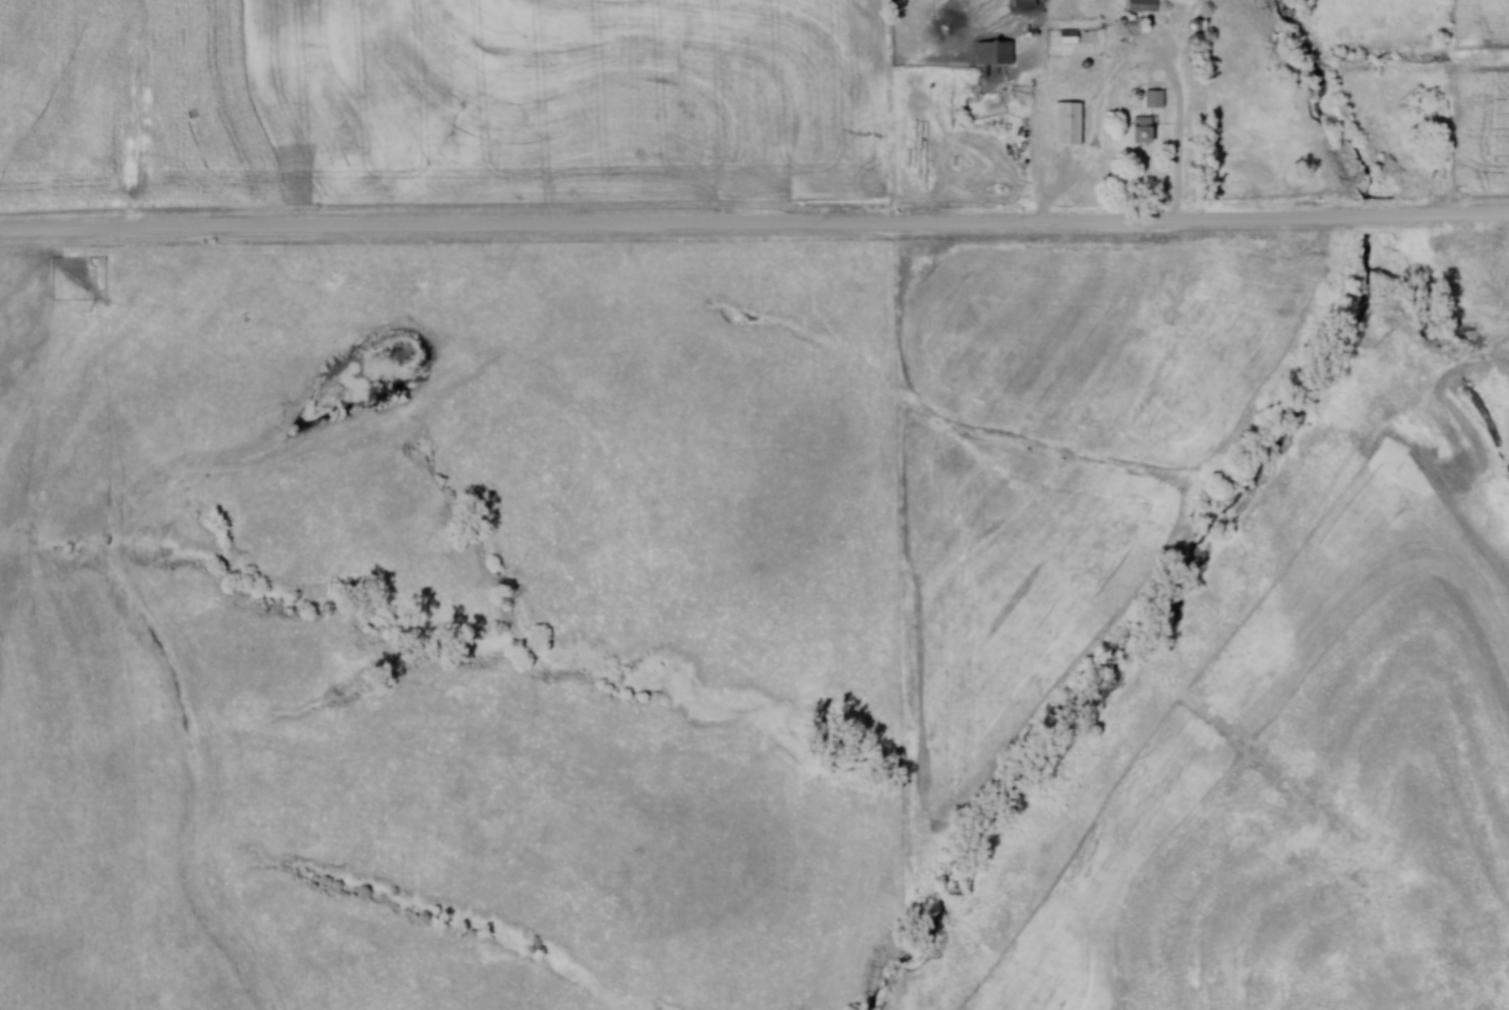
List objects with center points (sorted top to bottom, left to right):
building: (1143, 5)
building: (1069, 36)
building: (995, 53)
road: (1134, 61)
building: (1155, 99)
building: (1069, 124)
building: (1144, 131)
road: (754, 224)
building: (1167, 286)

